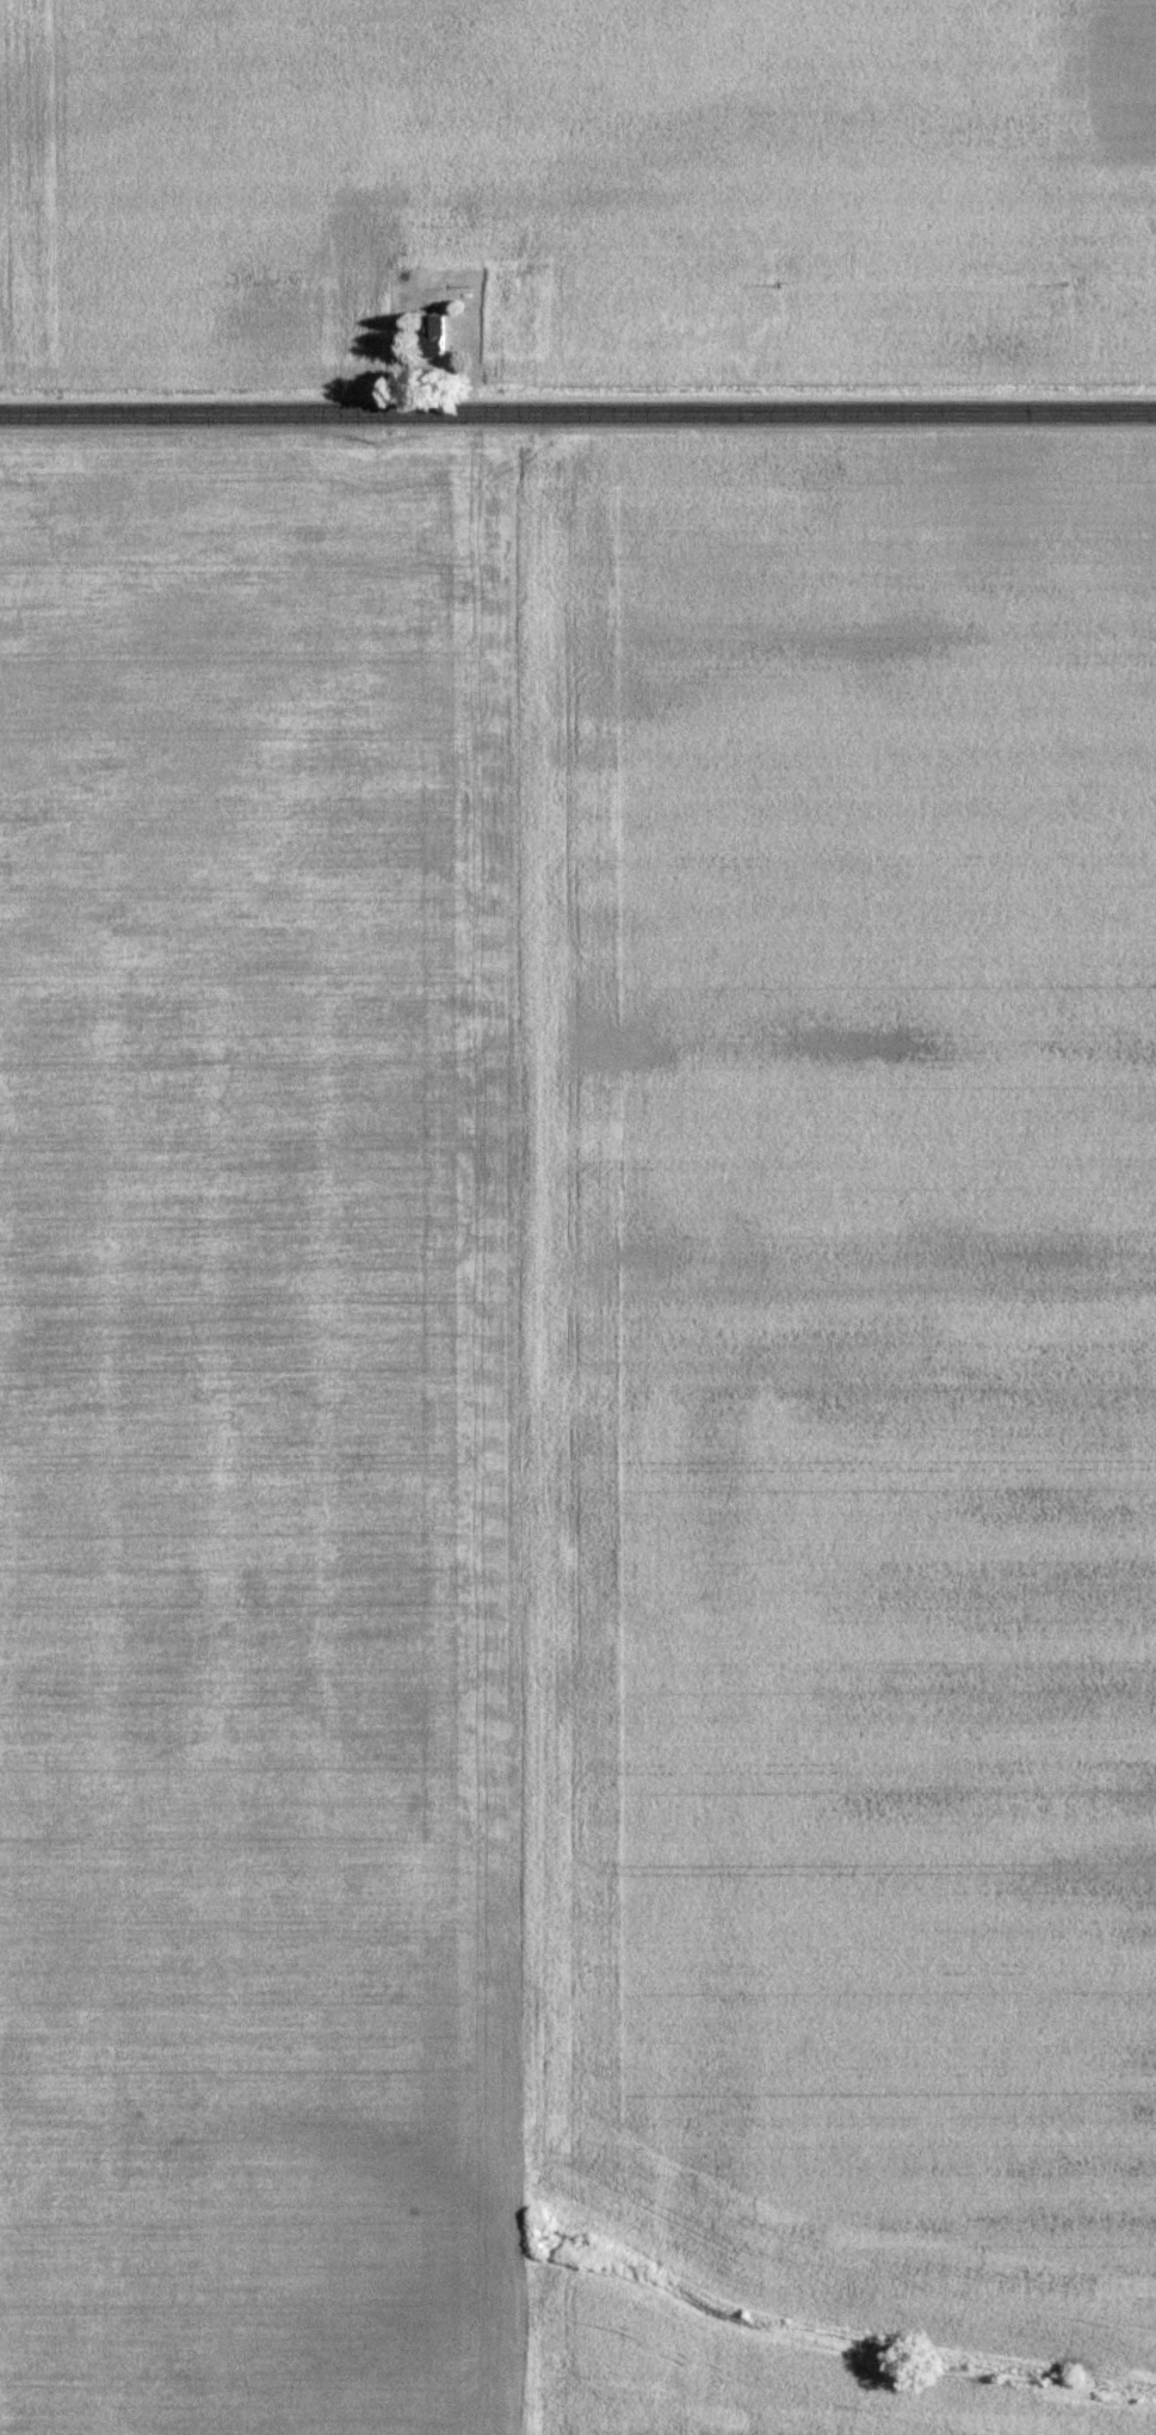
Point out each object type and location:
building: (429, 337)
road: (577, 414)

